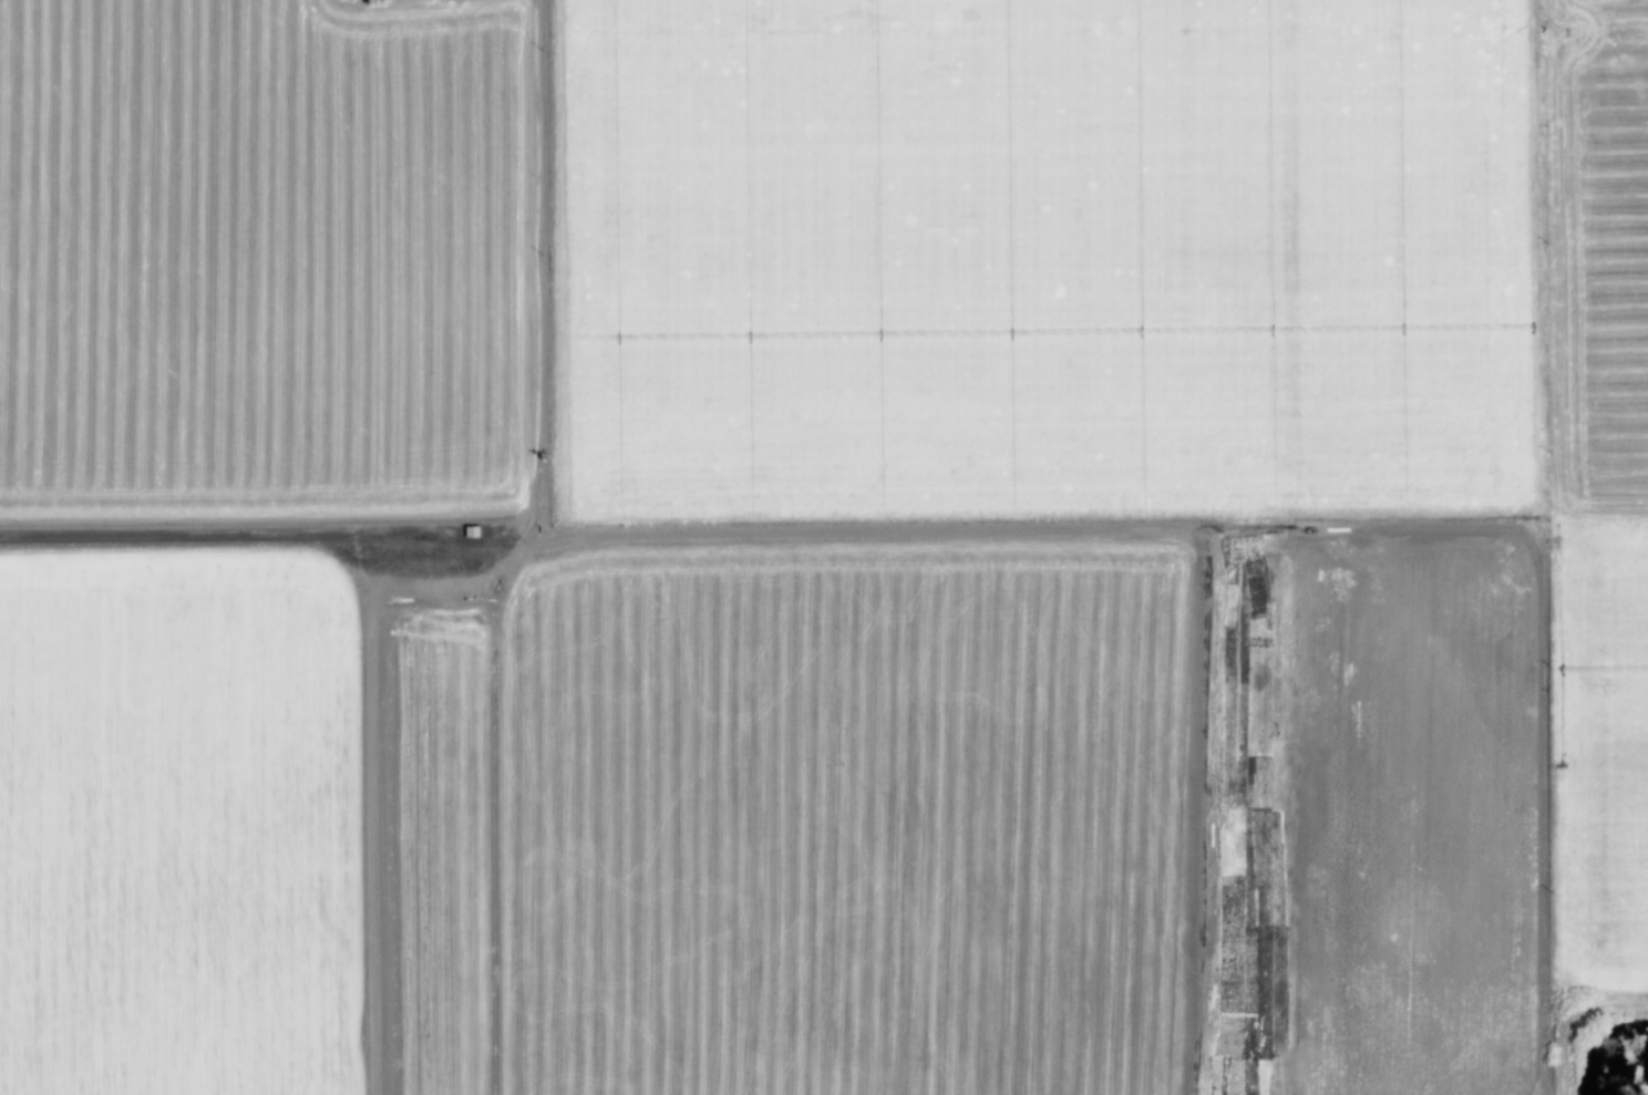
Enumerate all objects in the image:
road: (550, 265)

